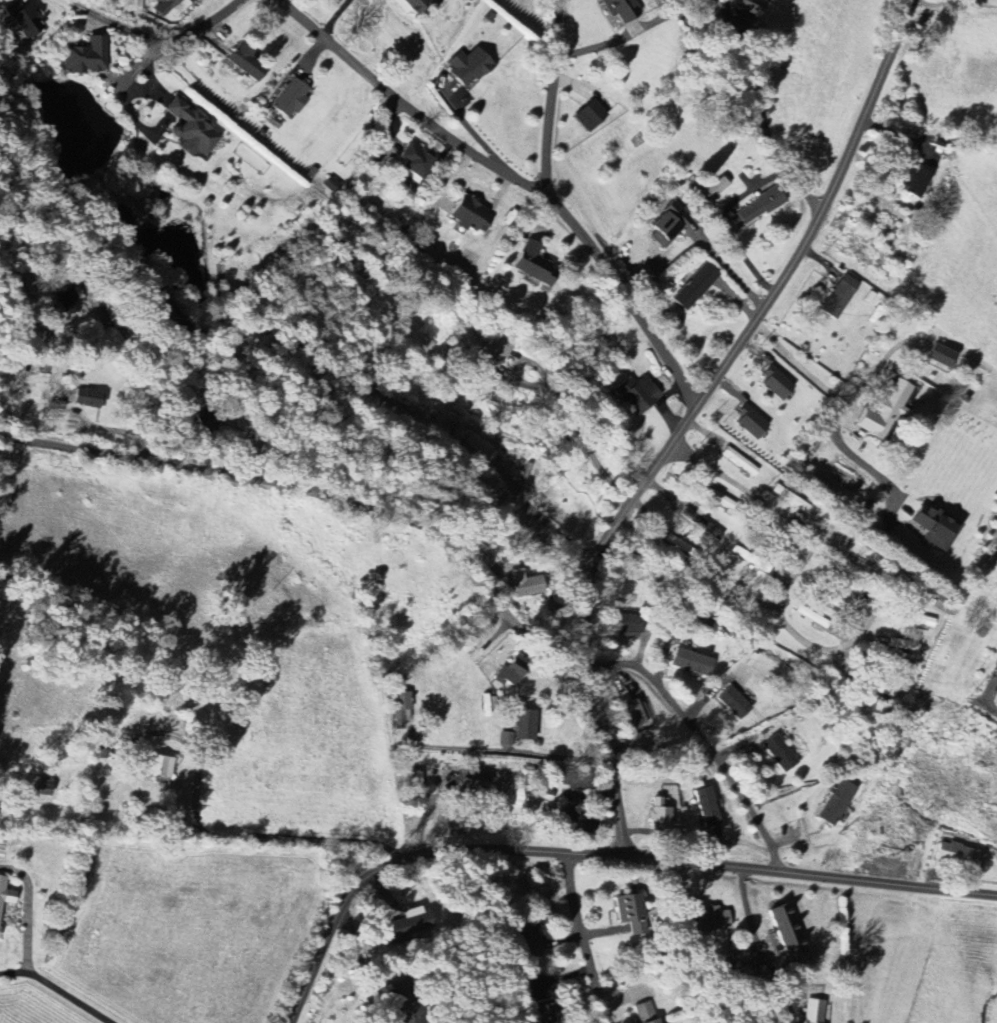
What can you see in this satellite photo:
building: (417, 5)
building: (750, 5)
building: (164, 6)
building: (621, 9)
road: (333, 17)
building: (22, 19)
road: (148, 38)
building: (85, 56)
building: (244, 62)
building: (469, 67)
road: (750, 77)
road: (549, 96)
building: (291, 98)
building: (590, 115)
road: (745, 117)
building: (191, 129)
building: (416, 160)
road: (516, 178)
building: (917, 180)
building: (756, 208)
building: (470, 216)
road: (724, 222)
building: (669, 225)
building: (534, 264)
road: (726, 265)
building: (695, 286)
building: (839, 296)
building: (69, 298)
building: (162, 309)
building: (494, 349)
building: (941, 355)
road: (880, 366)
building: (776, 383)
building: (636, 394)
building: (87, 397)
road: (155, 397)
road: (840, 404)
building: (891, 409)
building: (207, 417)
road: (691, 417)
road: (577, 421)
building: (750, 422)
building: (476, 449)
road: (353, 503)
building: (935, 526)
road: (795, 560)
building: (842, 580)
building: (525, 583)
building: (905, 590)
building: (830, 598)
building: (626, 623)
building: (904, 644)
building: (693, 660)
building: (897, 664)
building: (511, 672)
road: (988, 697)
building: (735, 702)
building: (401, 709)
building: (631, 710)
building: (523, 724)
building: (506, 738)
road: (707, 742)
road: (508, 749)
building: (780, 753)
building: (158, 765)
building: (572, 779)
building: (472, 781)
building: (44, 786)
building: (837, 802)
building: (707, 806)
building: (660, 814)
building: (571, 820)
road: (233, 834)
road: (597, 854)
building: (960, 855)
building: (5, 893)
road: (24, 910)
building: (631, 912)
building: (713, 921)
building: (412, 923)
building: (787, 931)
road: (754, 936)
road: (584, 938)
building: (526, 939)
road: (362, 962)
building: (738, 968)
road: (14, 972)
road: (70, 996)
building: (546, 1011)
building: (814, 1011)
building: (647, 1012)

